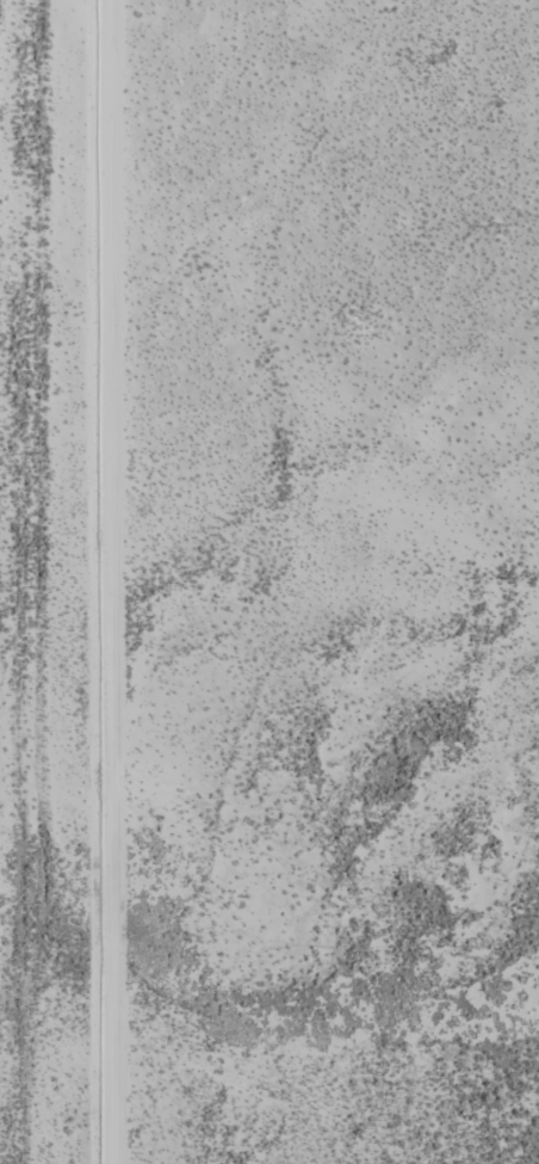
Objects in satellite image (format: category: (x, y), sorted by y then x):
road: (10, 581)

